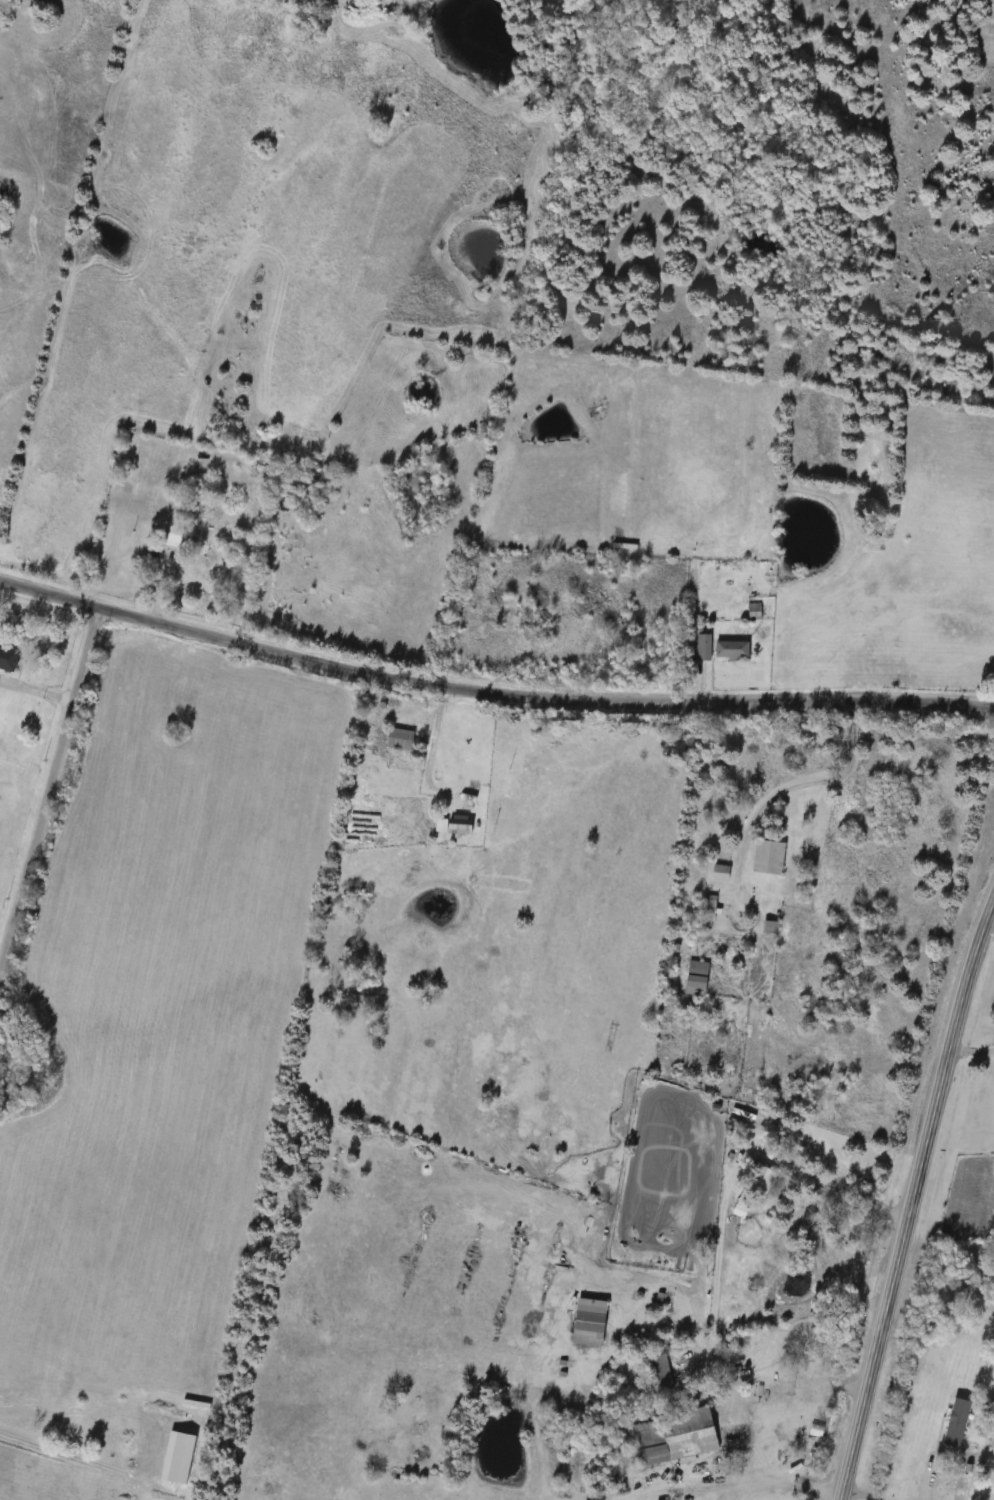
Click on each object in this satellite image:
building: (174, 536)
building: (704, 647)
building: (732, 650)
building: (8, 659)
road: (35, 688)
road: (491, 694)
building: (401, 739)
road: (431, 781)
road: (47, 784)
road: (752, 816)
building: (456, 825)
building: (769, 857)
building: (722, 873)
building: (773, 927)
road: (988, 927)
building: (699, 978)
road: (970, 1049)
road: (832, 1168)
road: (912, 1196)
building: (745, 1204)
building: (593, 1321)
building: (661, 1372)
road: (741, 1422)
building: (817, 1432)
building: (679, 1439)
road: (64, 1451)
road: (867, 1494)

